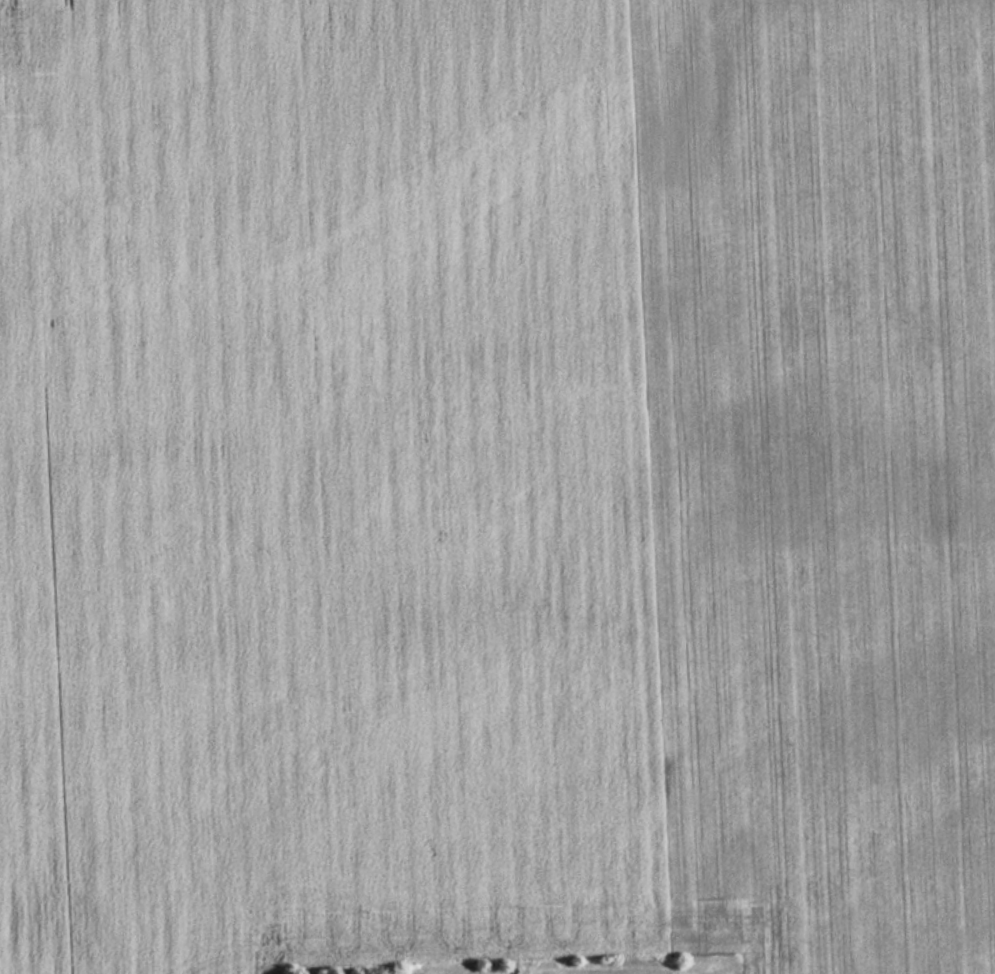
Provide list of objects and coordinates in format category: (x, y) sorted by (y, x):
crop: (820, 476)

